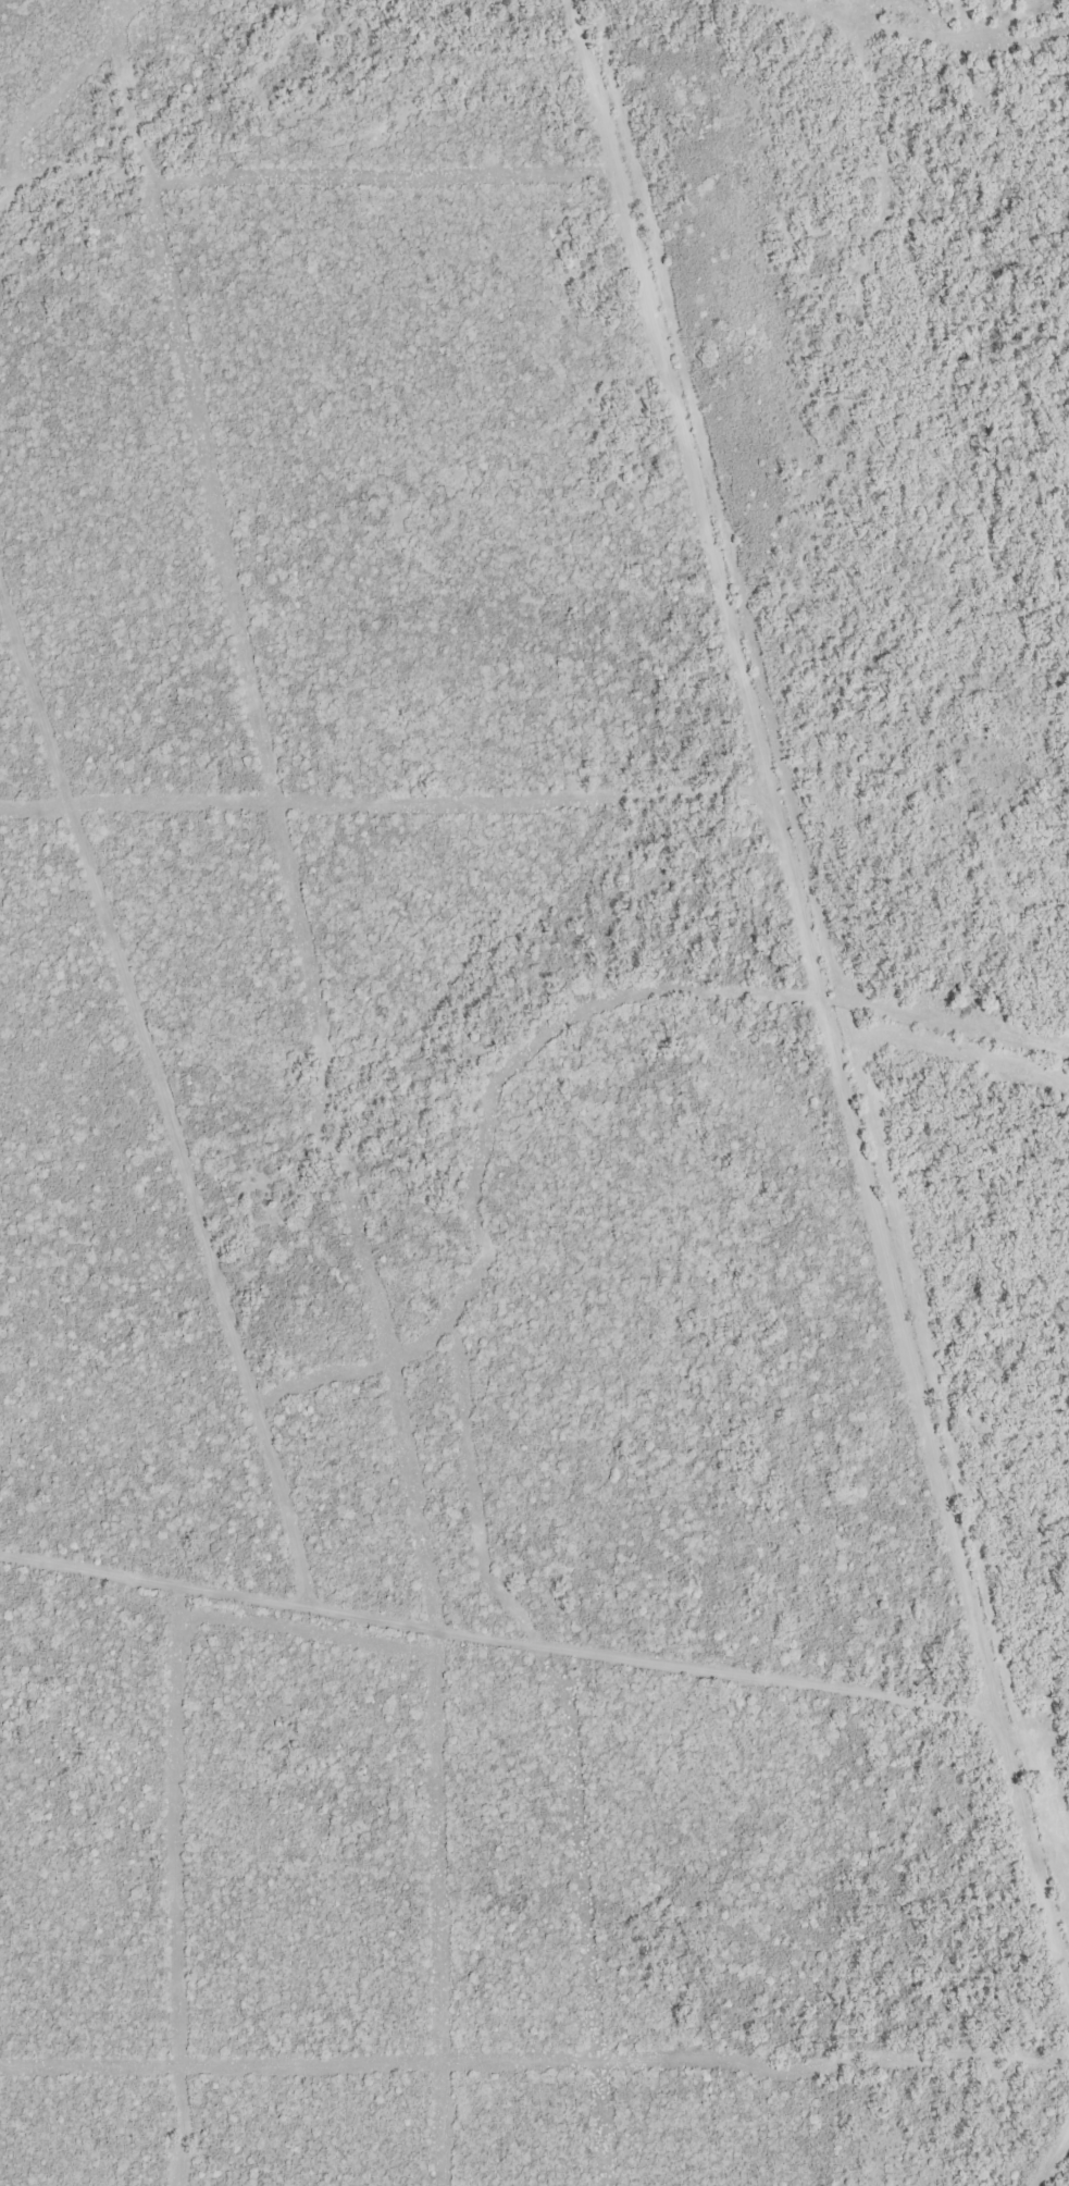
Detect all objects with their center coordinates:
road: (836, 1023)

